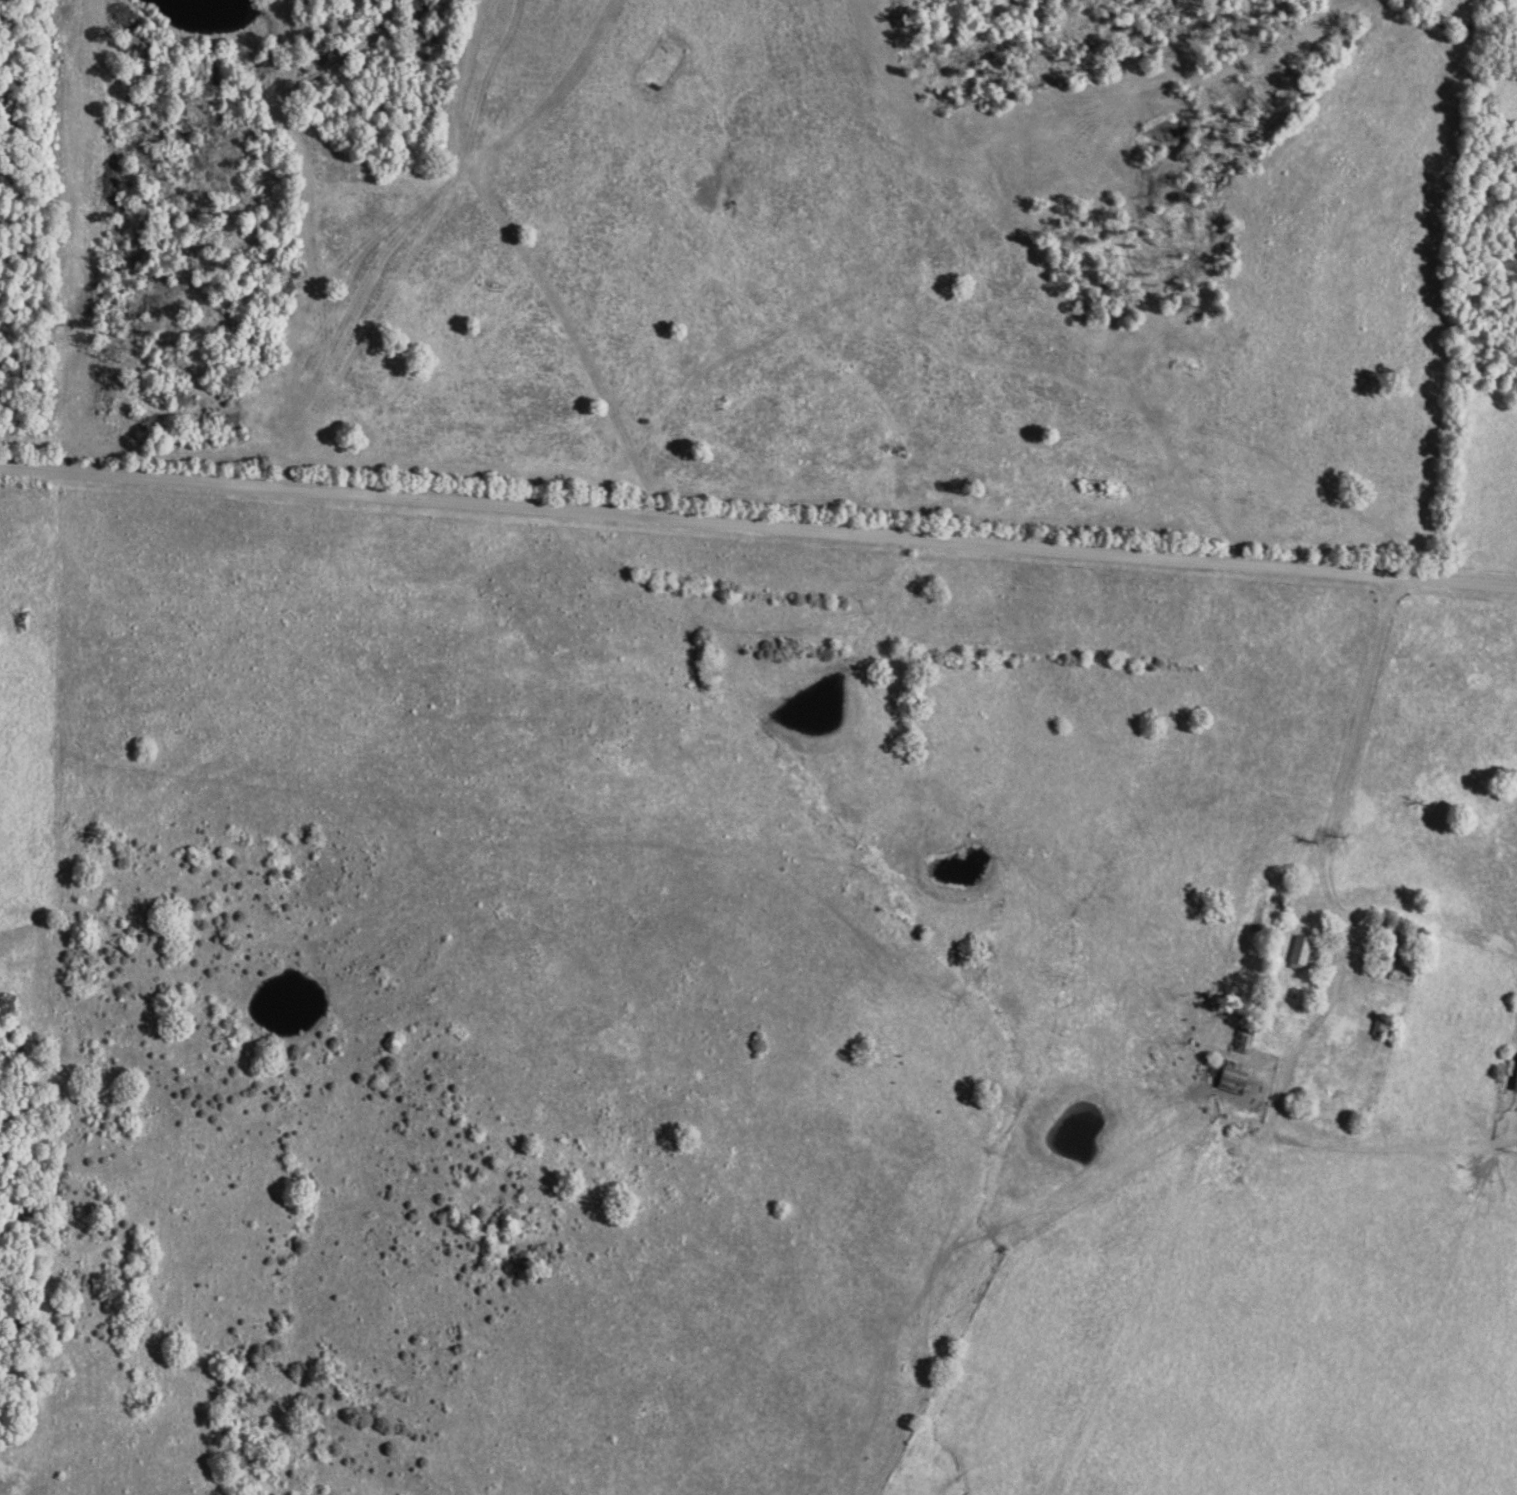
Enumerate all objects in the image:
road: (758, 526)
road: (1369, 776)
building: (1297, 950)
building: (1514, 1074)
building: (1230, 1077)
road: (368, 1479)

